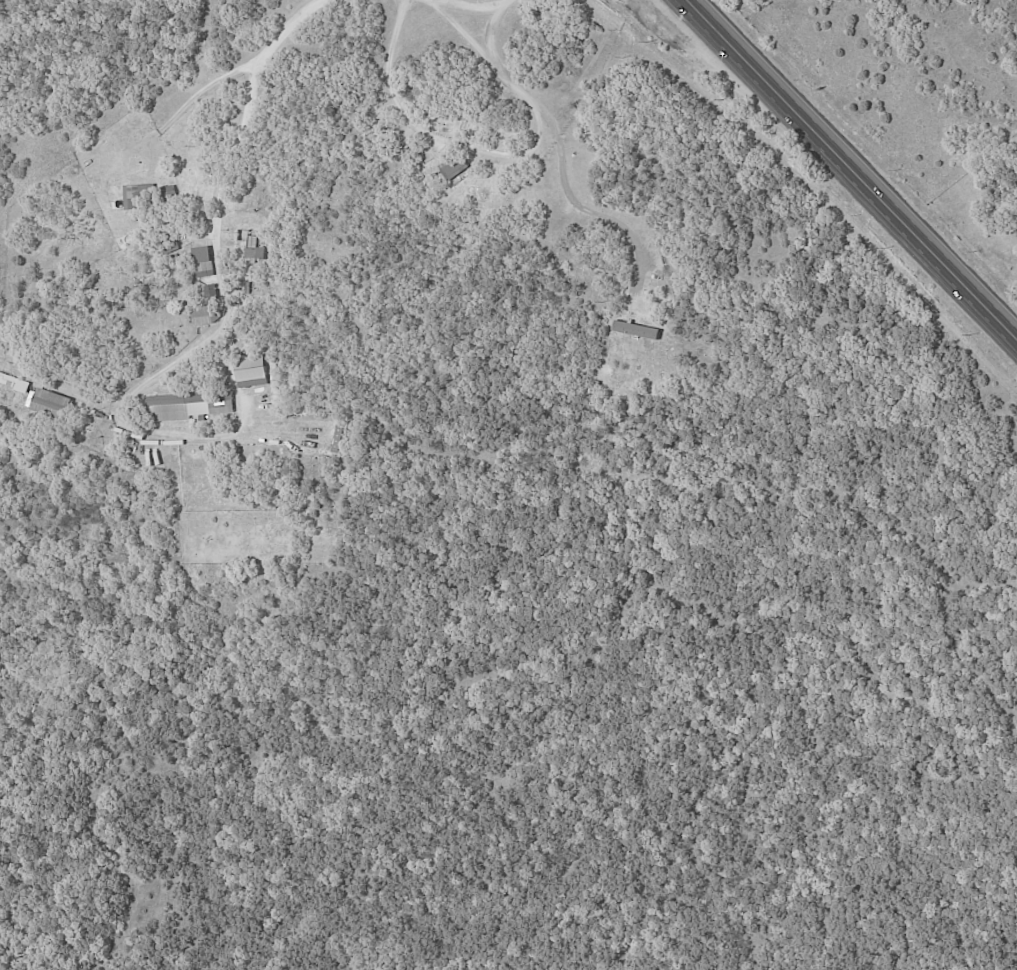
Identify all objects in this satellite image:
road: (981, 1)
road: (474, 5)
road: (997, 29)
road: (465, 35)
road: (282, 37)
road: (188, 106)
road: (489, 151)
building: (453, 168)
road: (852, 169)
road: (584, 210)
building: (256, 249)
building: (202, 261)
building: (211, 291)
building: (204, 315)
building: (636, 330)
road: (190, 352)
building: (251, 371)
building: (14, 381)
road: (62, 386)
building: (49, 403)
building: (188, 405)

